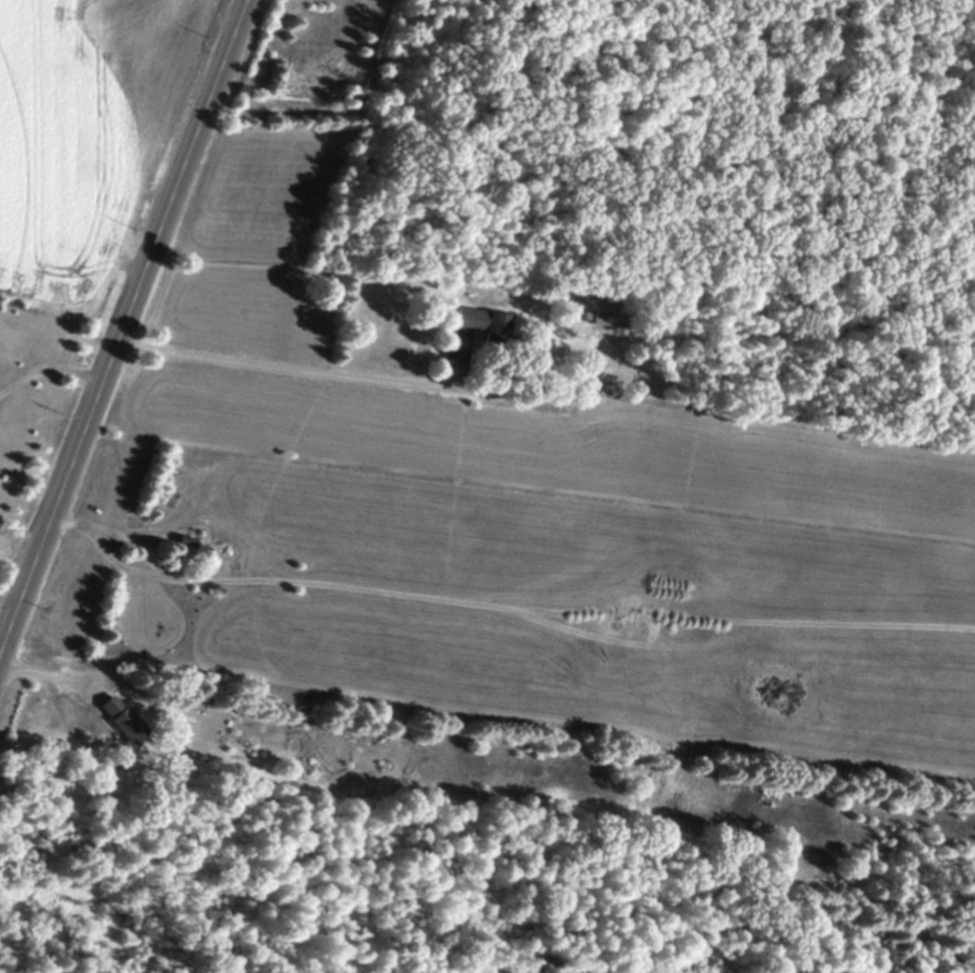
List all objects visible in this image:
building: (602, 318)
road: (120, 322)
building: (480, 324)
road: (48, 366)
road: (280, 375)
building: (181, 542)
road: (132, 543)
road: (48, 674)
building: (116, 719)

